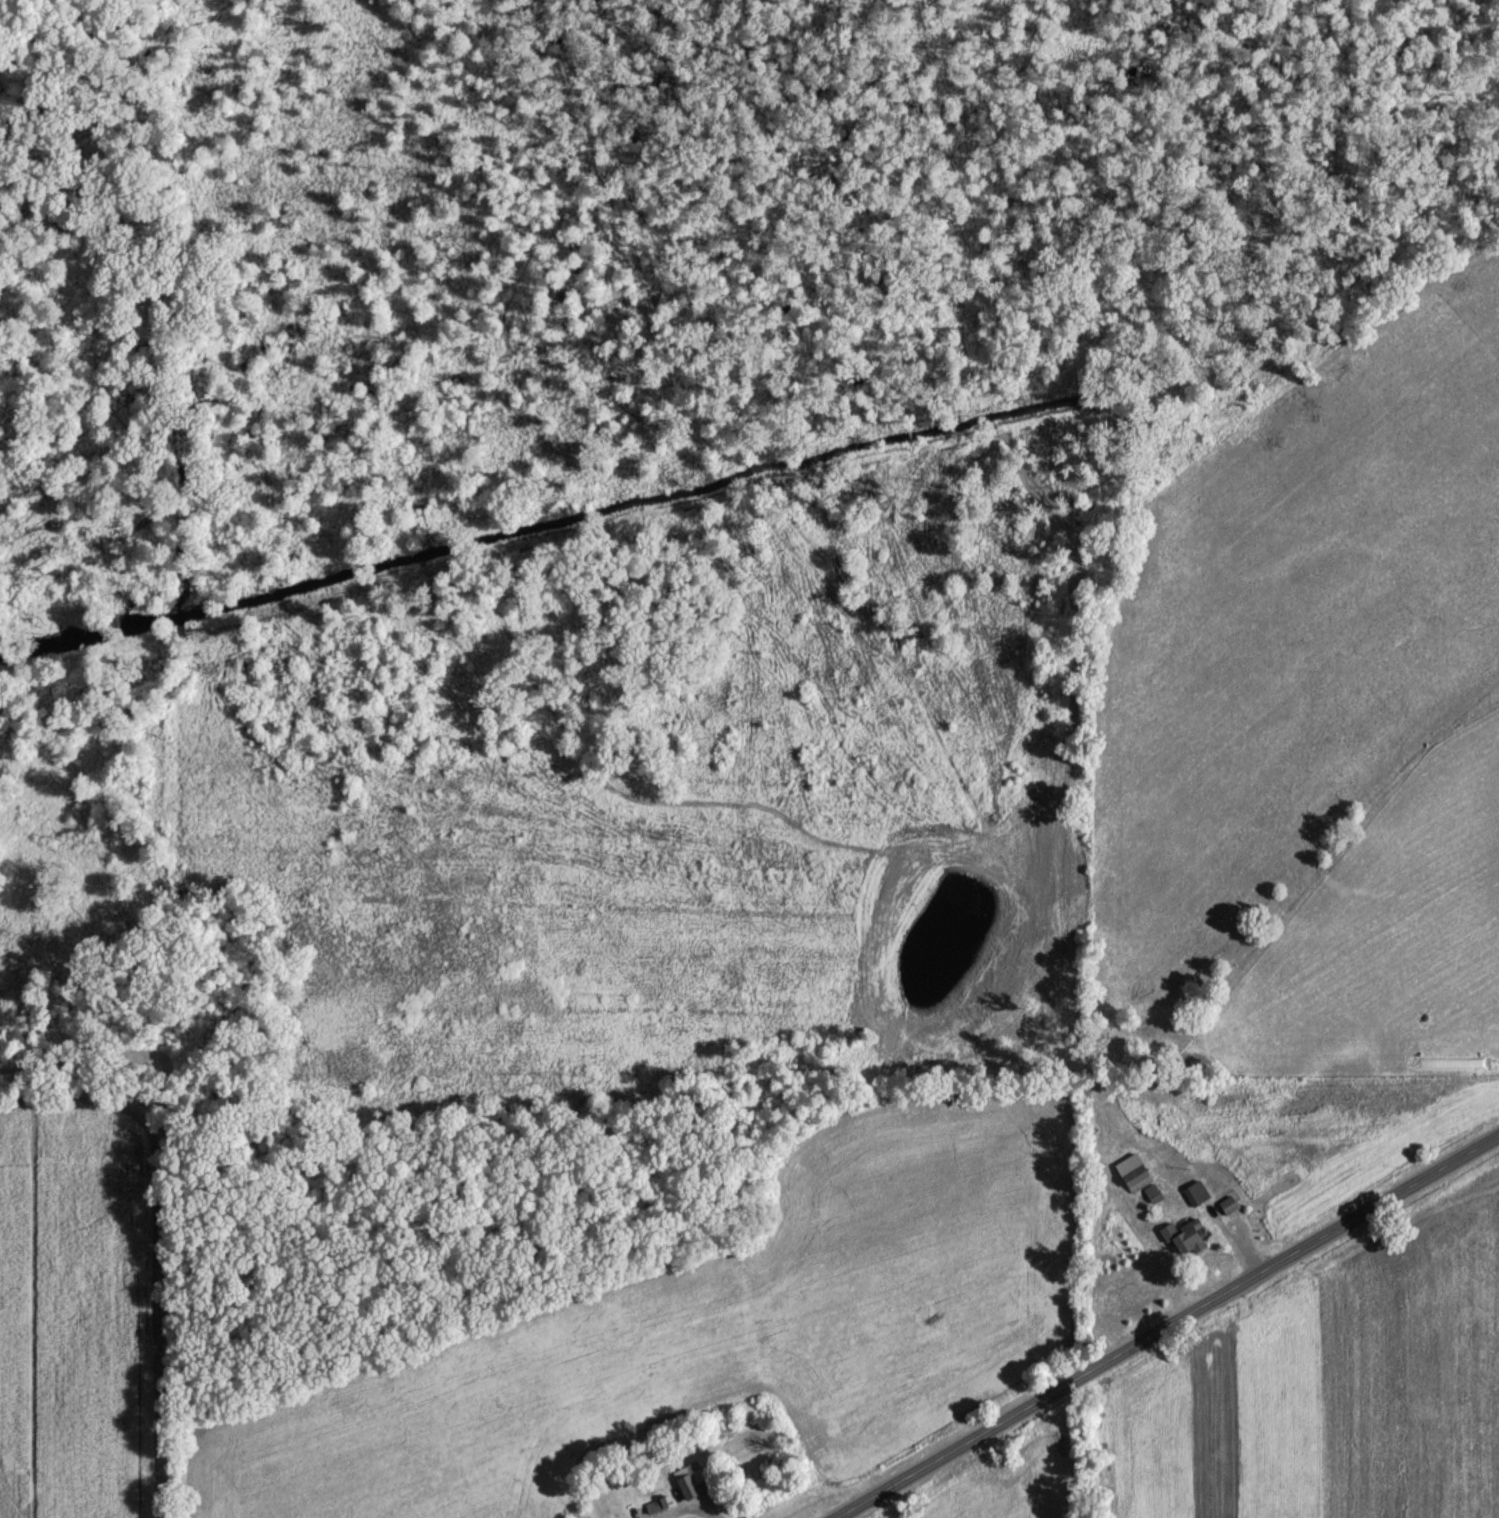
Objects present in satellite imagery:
building: (1138, 1182)
building: (1153, 1196)
building: (1196, 1197)
building: (1228, 1208)
building: (1185, 1241)
road: (1166, 1327)
building: (691, 1484)
building: (659, 1508)

